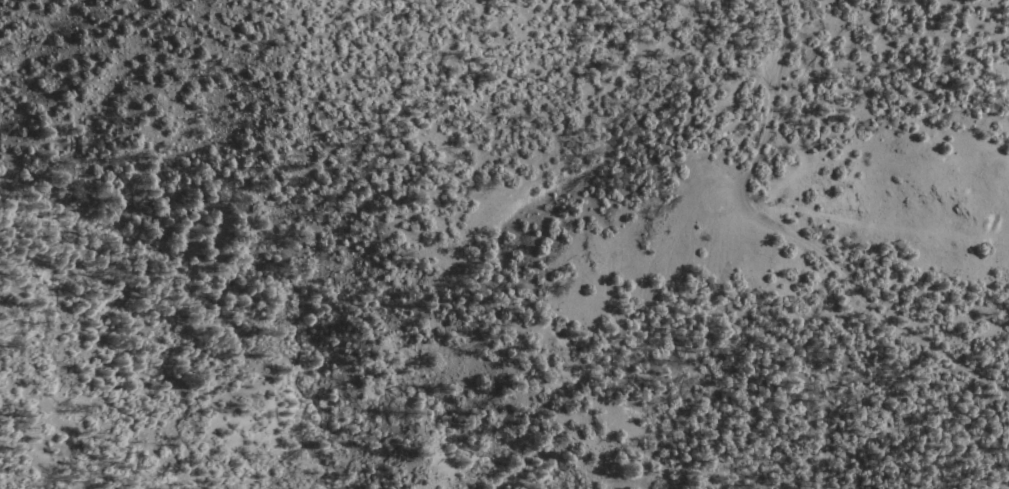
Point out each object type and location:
road: (793, 235)

